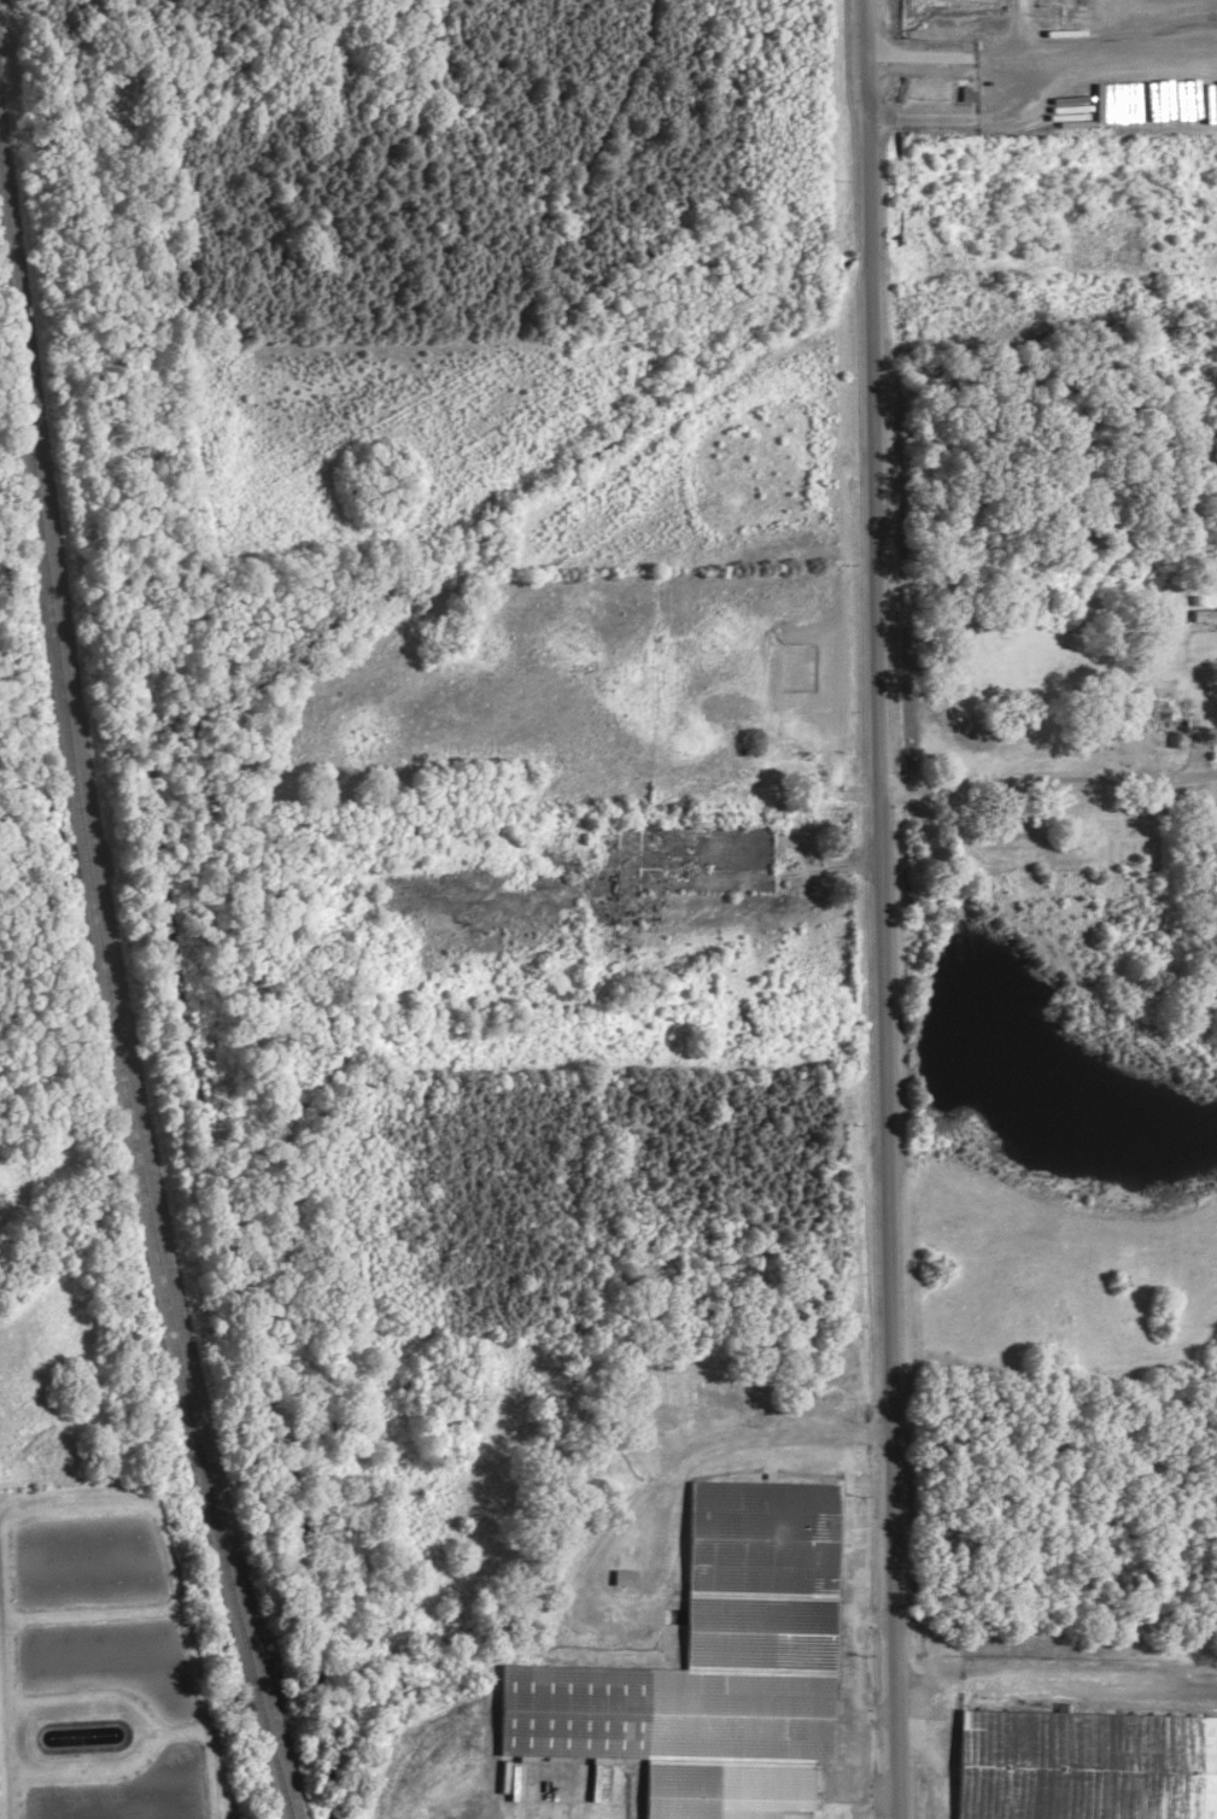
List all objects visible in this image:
building: (1201, 615)
building: (1169, 713)
road: (880, 909)
railway: (115, 977)
railway: (113, 1027)
building: (621, 1575)
building: (710, 1666)
building: (1084, 1765)

